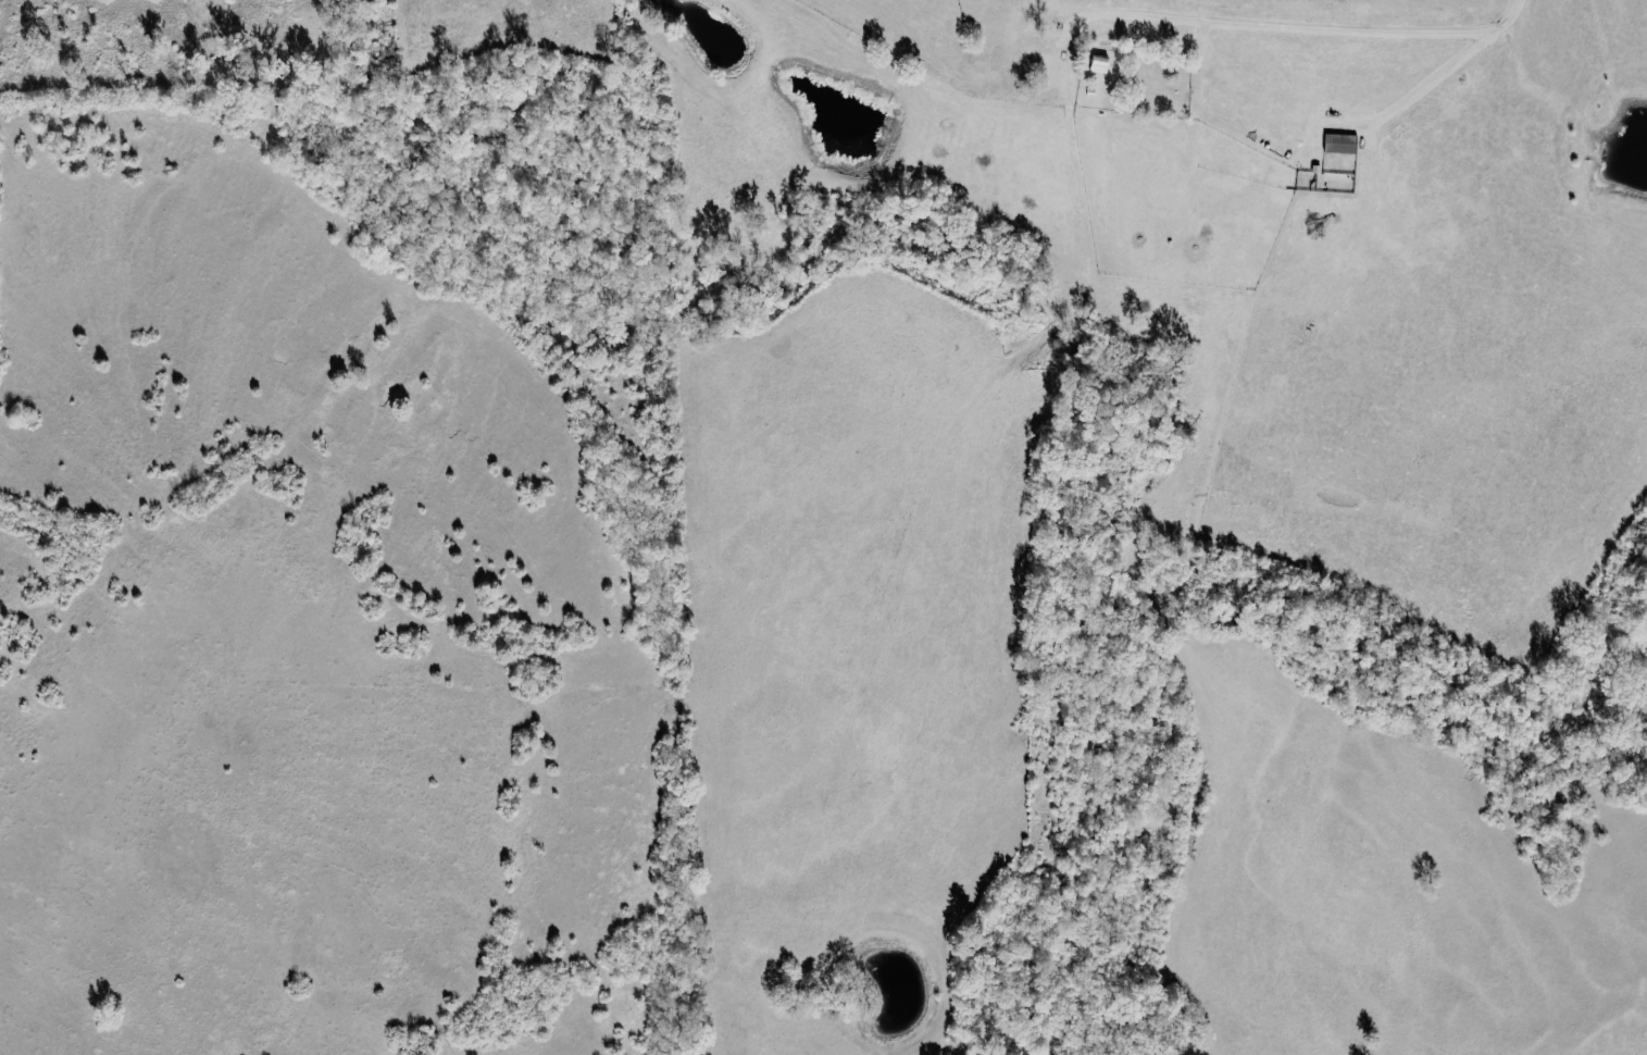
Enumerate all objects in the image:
building: (1101, 64)
building: (1343, 142)

